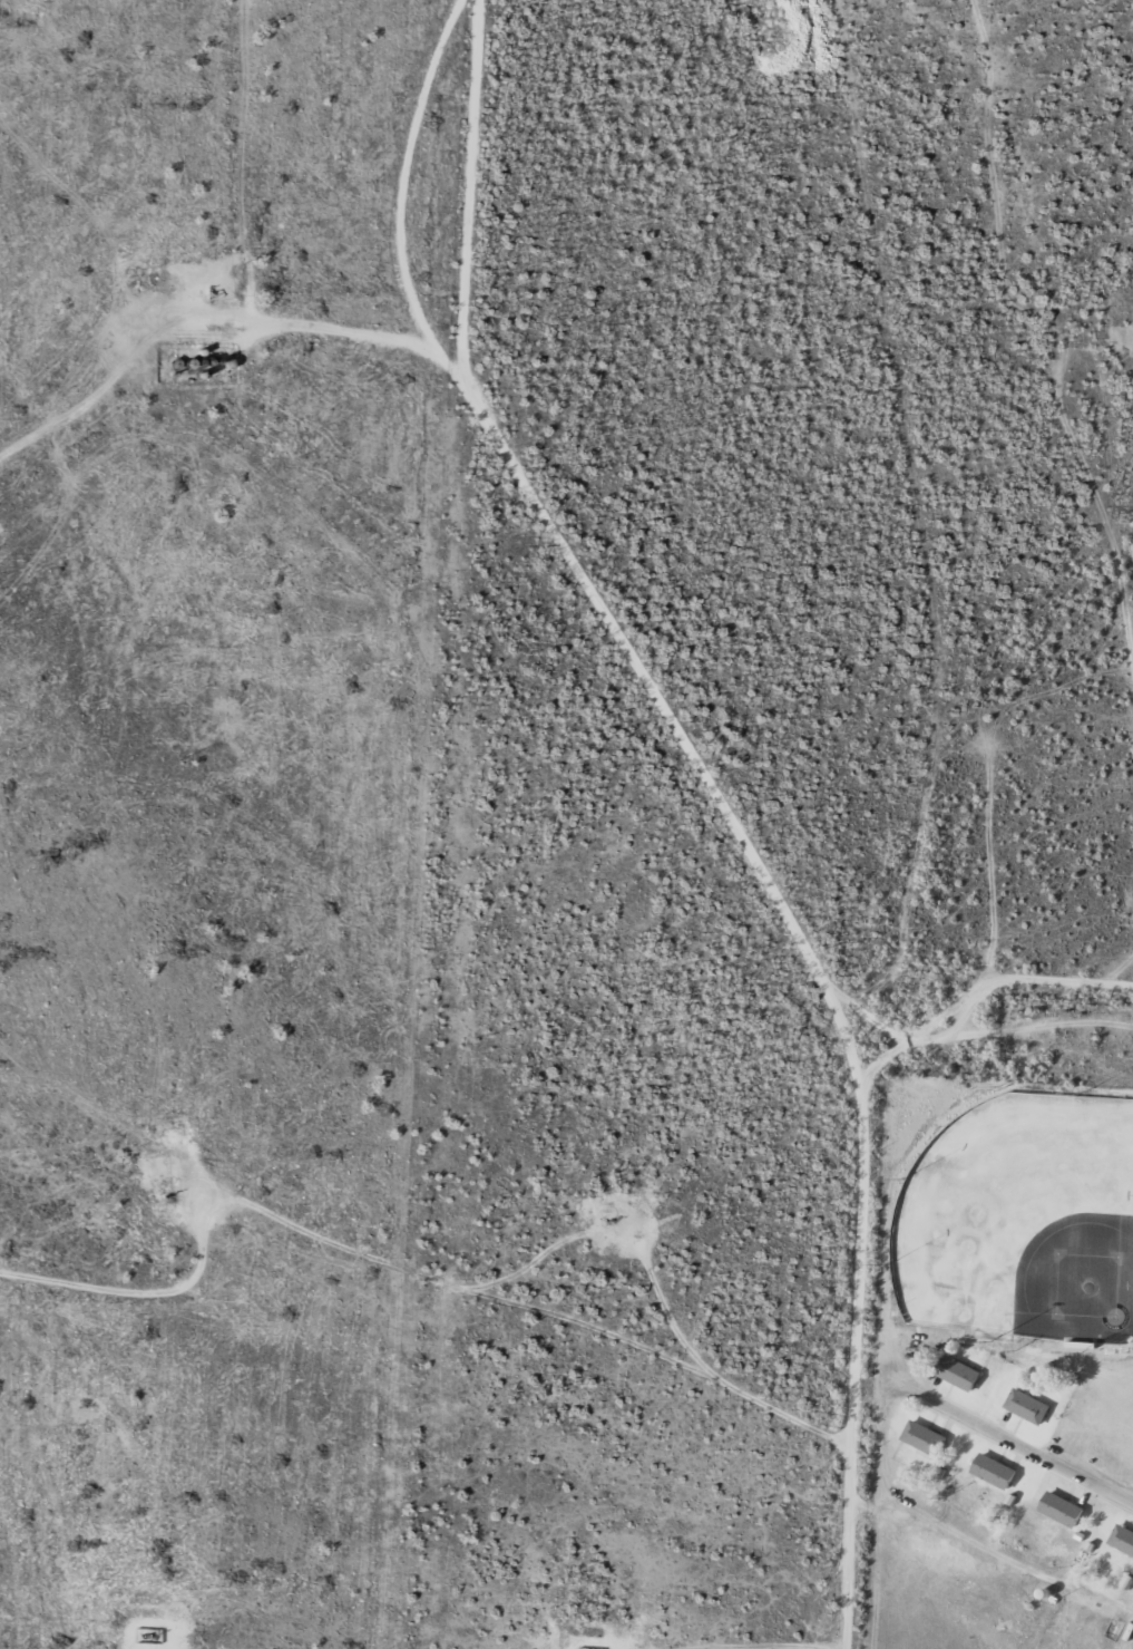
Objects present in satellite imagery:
road: (1054, 303)
road: (702, 798)
park: (1025, 1218)
building: (960, 1372)
building: (1031, 1406)
building: (927, 1438)
road: (1002, 1454)
building: (996, 1471)
building: (1064, 1509)
building: (1124, 1538)

